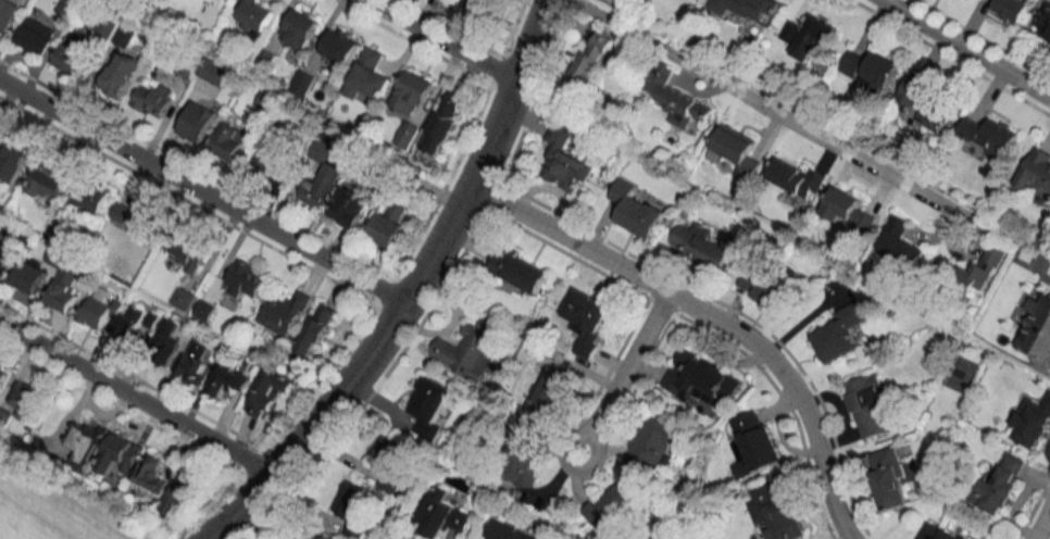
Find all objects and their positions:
building: (476, 4)
building: (66, 7)
building: (749, 9)
building: (1011, 9)
building: (9, 13)
building: (254, 16)
building: (1045, 25)
building: (300, 28)
building: (35, 34)
building: (124, 36)
building: (807, 37)
road: (440, 41)
building: (340, 48)
road: (964, 49)
building: (75, 53)
building: (591, 57)
building: (870, 68)
building: (214, 71)
building: (122, 74)
building: (370, 75)
building: (412, 93)
building: (675, 97)
building: (153, 99)
building: (266, 100)
building: (927, 102)
road: (761, 106)
building: (199, 122)
building: (443, 123)
building: (407, 135)
building: (989, 136)
building: (229, 140)
building: (736, 150)
building: (279, 152)
road: (485, 154)
building: (13, 159)
building: (564, 162)
building: (1035, 172)
building: (796, 177)
building: (46, 179)
building: (321, 186)
road: (201, 190)
road: (490, 195)
building: (91, 196)
building: (350, 204)
building: (635, 210)
building: (847, 210)
building: (136, 218)
building: (388, 226)
building: (899, 242)
building: (699, 246)
building: (186, 251)
building: (4, 254)
building: (516, 271)
building: (980, 271)
building: (29, 277)
building: (246, 278)
building: (761, 286)
building: (63, 290)
building: (183, 298)
building: (97, 309)
building: (284, 311)
road: (709, 315)
building: (587, 319)
building: (128, 324)
building: (316, 329)
building: (1037, 329)
building: (839, 333)
building: (164, 341)
building: (470, 349)
building: (193, 363)
road: (130, 372)
building: (2, 376)
building: (700, 379)
building: (229, 380)
road: (372, 384)
road: (620, 388)
building: (266, 391)
building: (547, 393)
road: (137, 396)
building: (26, 402)
road: (117, 404)
building: (868, 405)
building: (430, 408)
building: (4, 416)
building: (1032, 422)
road: (312, 426)
building: (87, 441)
building: (753, 443)
building: (652, 446)
building: (120, 454)
building: (392, 461)
building: (522, 467)
building: (151, 471)
building: (889, 478)
building: (998, 486)
building: (180, 492)
road: (204, 505)
building: (616, 507)
building: (355, 509)
building: (776, 514)
building: (441, 515)
road: (1039, 519)
building: (508, 530)
building: (937, 531)
building: (308, 535)

